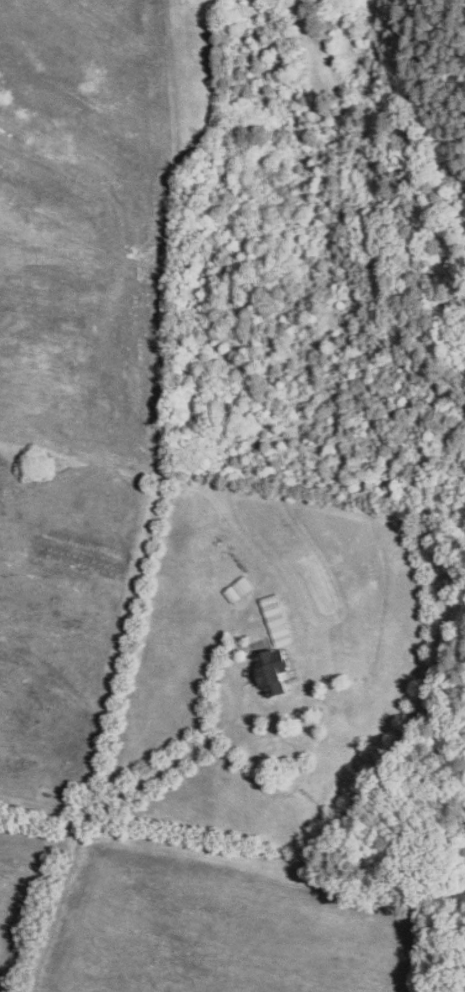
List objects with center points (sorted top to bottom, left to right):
road: (221, 503)
building: (239, 588)
building: (277, 618)
building: (276, 665)
road: (39, 813)
road: (51, 909)

